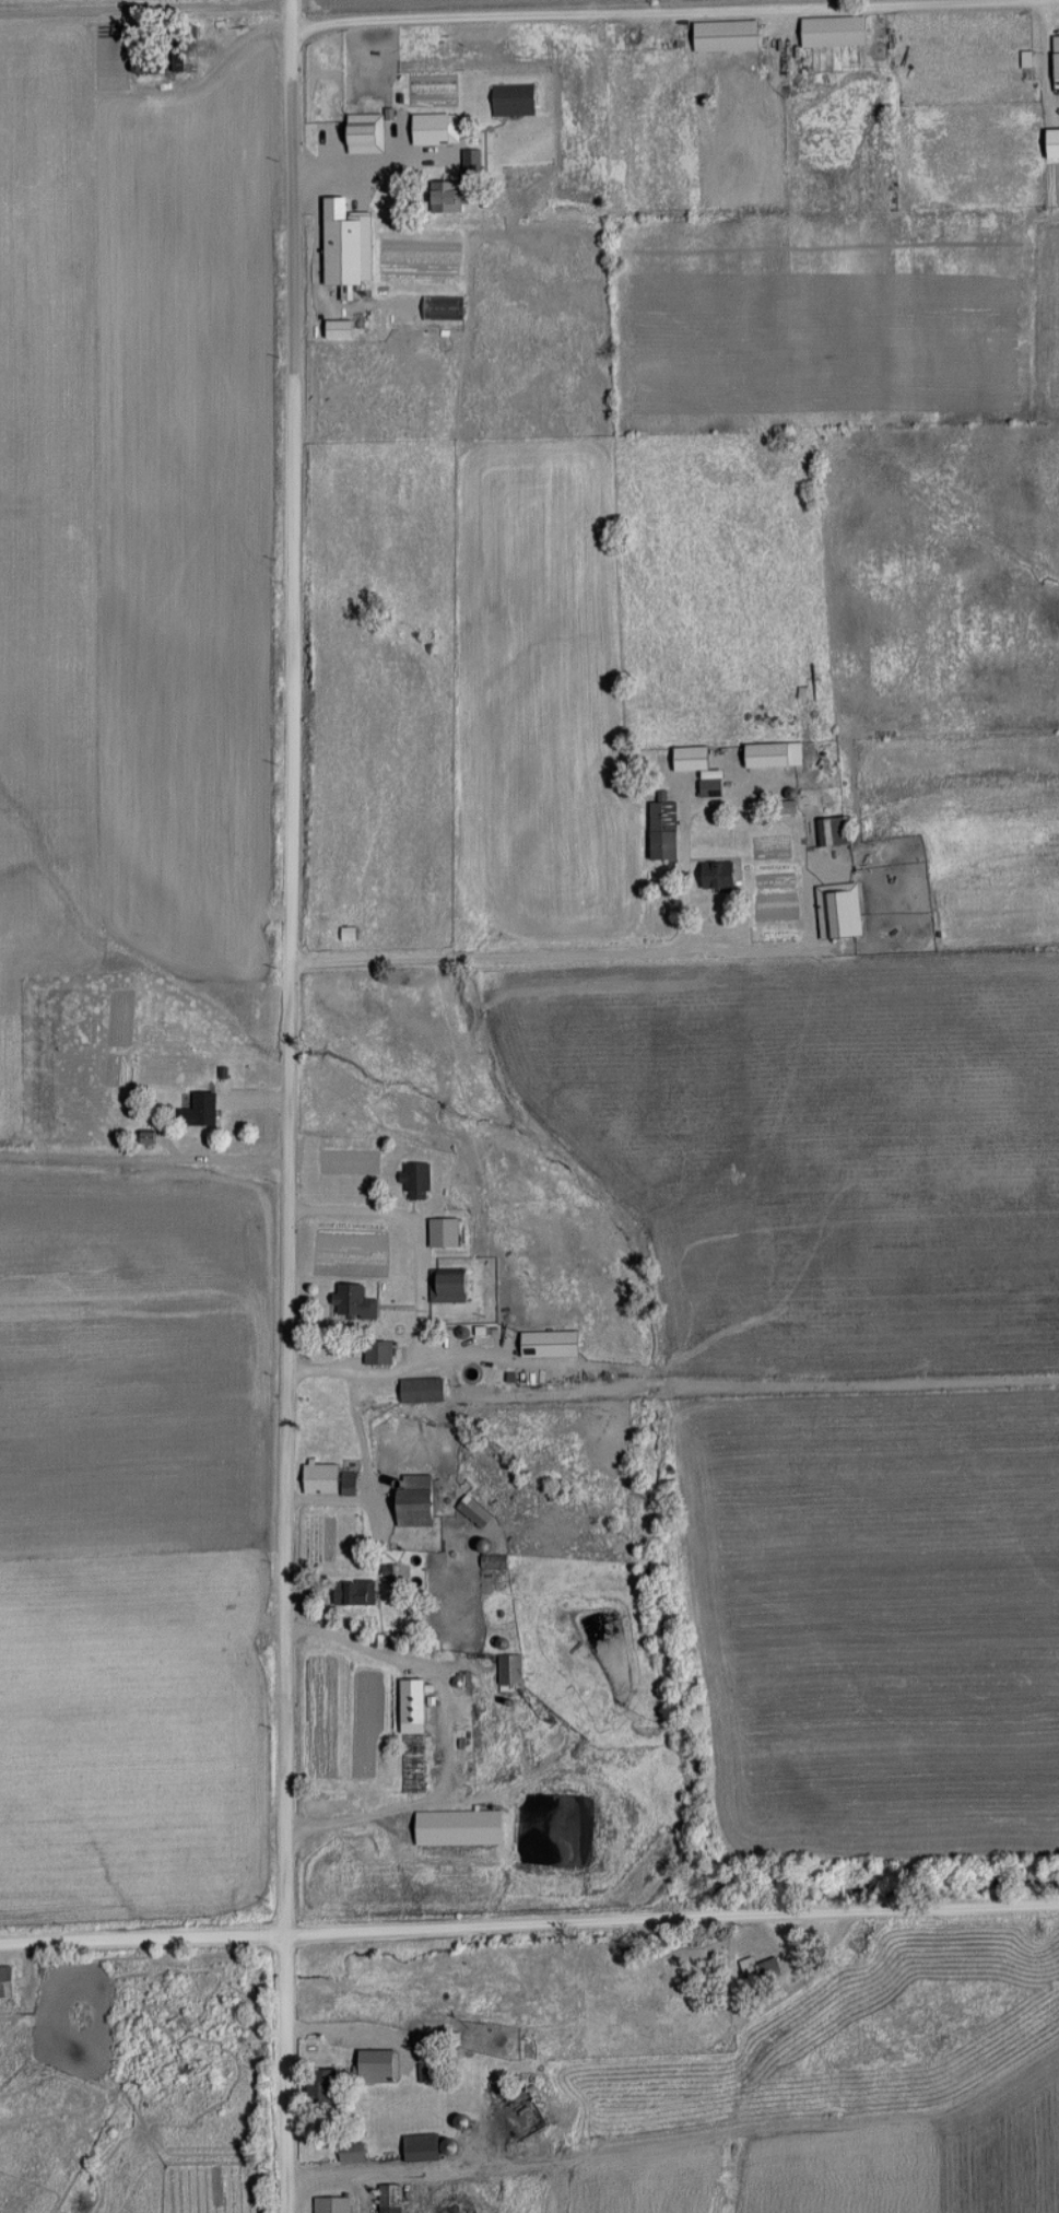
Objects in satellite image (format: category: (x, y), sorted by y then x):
road: (673, 13)
building: (837, 31)
building: (729, 35)
building: (1052, 57)
building: (1022, 59)
building: (433, 130)
building: (366, 132)
building: (473, 160)
road: (370, 167)
building: (457, 196)
building: (346, 254)
building: (431, 307)
building: (440, 344)
building: (765, 756)
building: (693, 759)
building: (711, 787)
building: (664, 831)
building: (834, 832)
building: (720, 875)
building: (842, 910)
road: (523, 970)
road: (283, 1106)
building: (203, 1111)
building: (152, 1137)
building: (134, 1173)
building: (417, 1180)
building: (447, 1232)
building: (454, 1286)
road: (420, 1295)
building: (352, 1301)
building: (553, 1344)
building: (381, 1353)
building: (425, 1391)
building: (330, 1479)
road: (373, 1485)
building: (422, 1503)
building: (476, 1512)
building: (364, 1593)
building: (511, 1668)
building: (412, 1730)
road: (449, 1738)
building: (462, 1828)
road: (529, 1931)
building: (752, 1967)
building: (8, 1982)
road: (330, 2028)
building: (438, 2038)
building: (548, 2041)
building: (327, 2085)
building: (409, 2117)
building: (425, 2146)
building: (355, 2151)
road: (384, 2175)
building: (393, 2198)
building: (334, 2204)

